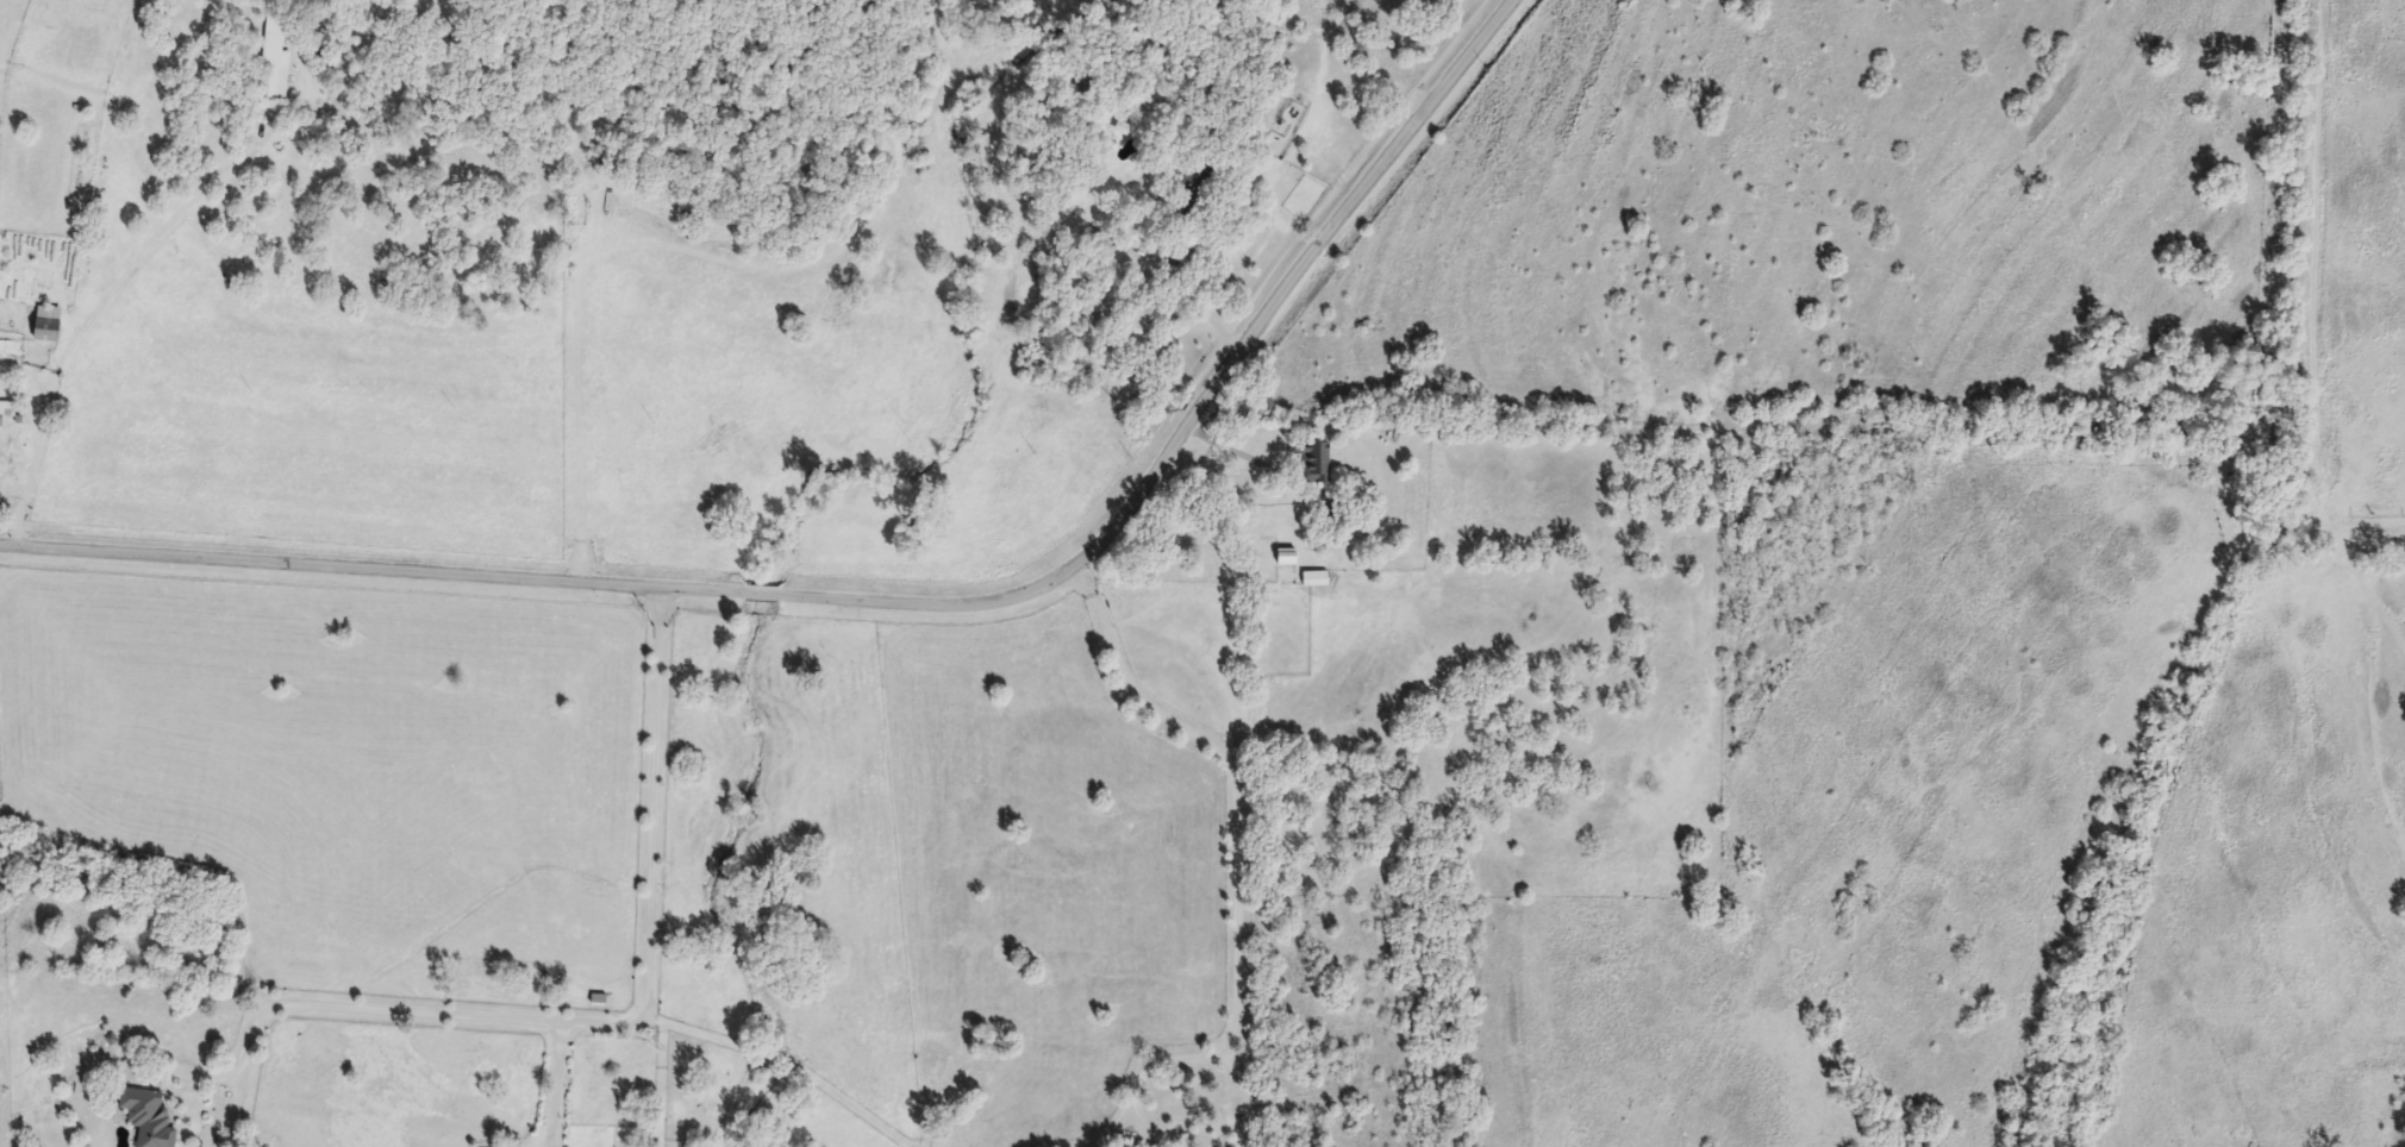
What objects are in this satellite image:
building: (275, 69)
road: (140, 253)
road: (1204, 300)
building: (1091, 308)
building: (50, 325)
building: (1130, 328)
road: (2309, 343)
building: (2, 431)
building: (1313, 464)
road: (33, 468)
building: (1283, 557)
building: (1313, 579)
road: (902, 612)
road: (1237, 859)
road: (617, 1032)
road: (781, 1061)
road: (556, 1089)
building: (149, 1118)

